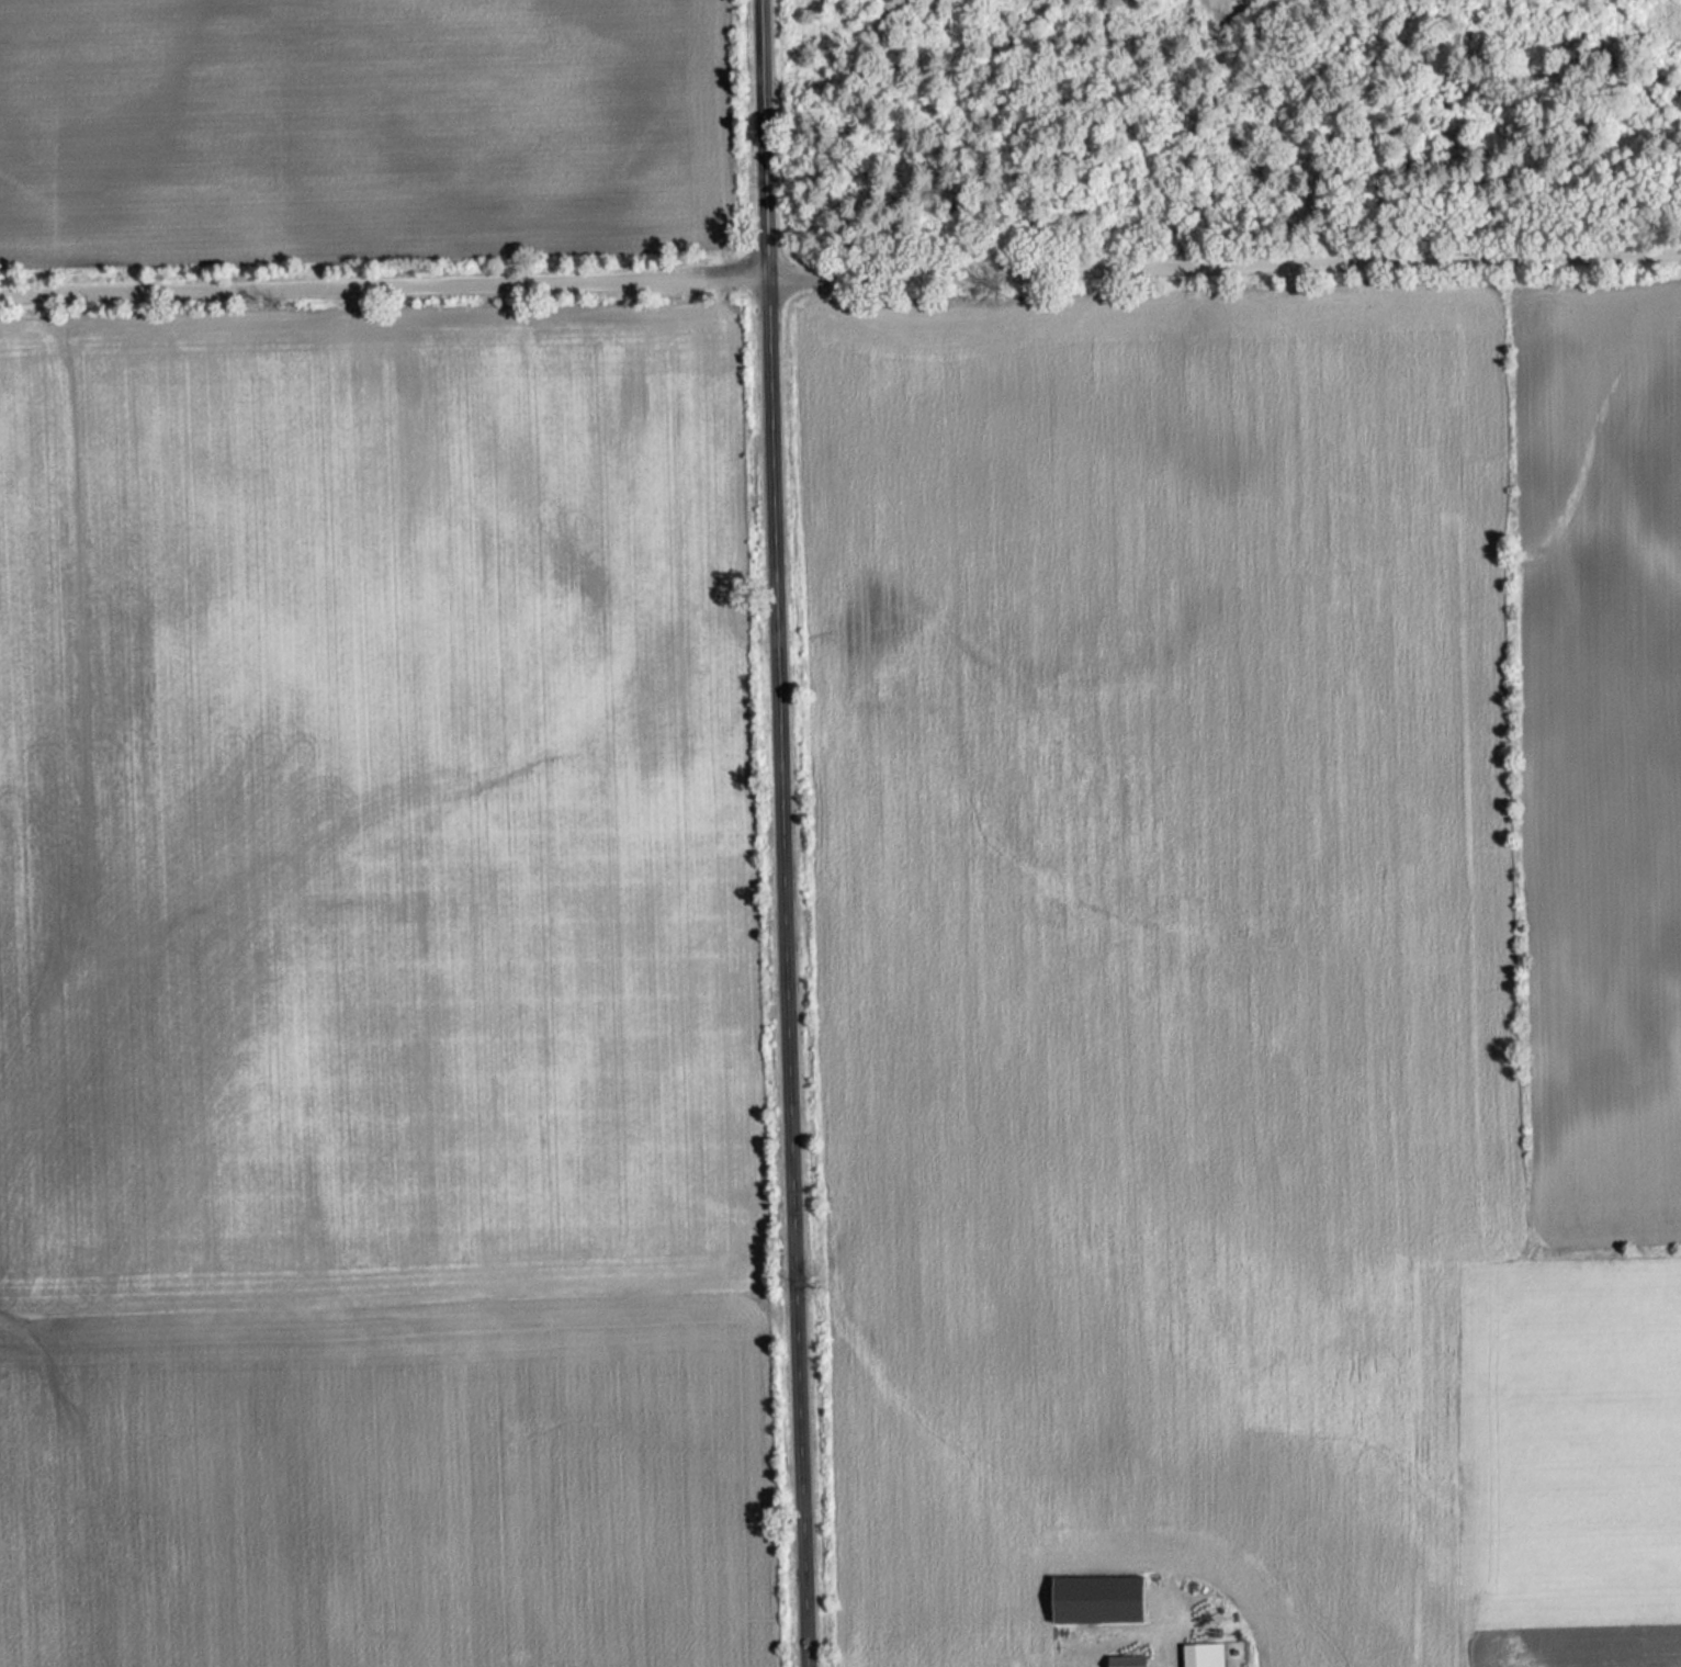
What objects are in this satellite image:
road: (840, 269)
road: (786, 833)
building: (1099, 1590)
building: (1206, 1652)
building: (1130, 1656)

